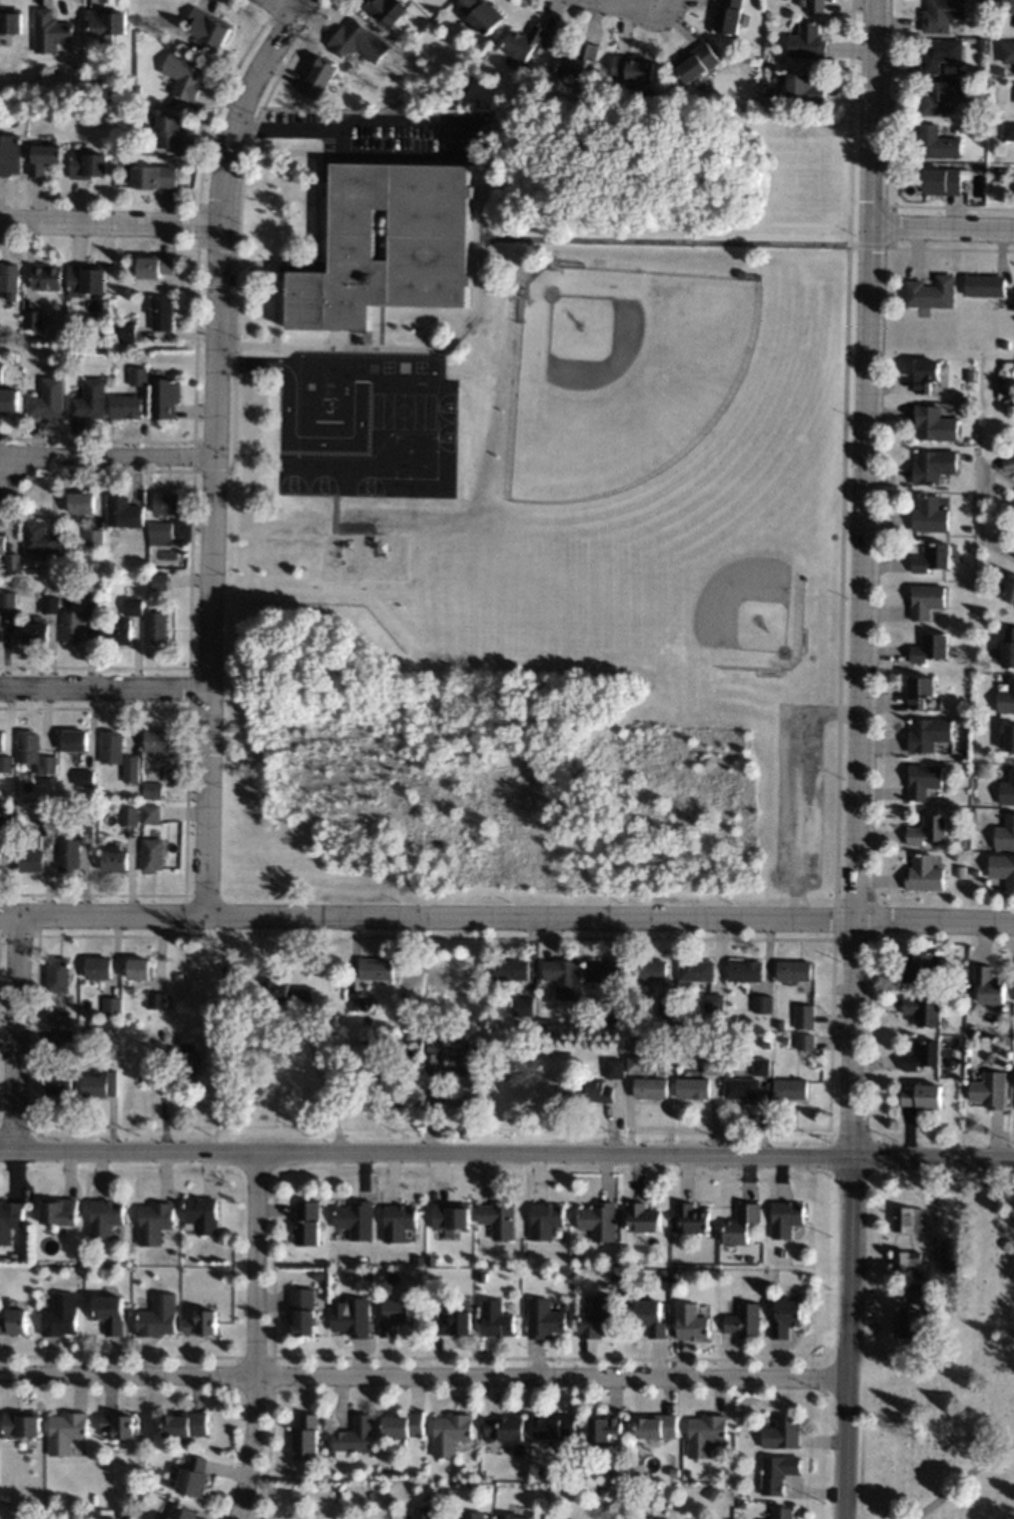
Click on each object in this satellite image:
building: (983, 2)
road: (622, 4)
building: (815, 6)
building: (1008, 6)
road: (284, 8)
building: (387, 11)
building: (479, 14)
building: (941, 14)
building: (728, 16)
building: (10, 20)
building: (106, 22)
building: (208, 26)
building: (994, 30)
building: (49, 31)
building: (357, 42)
building: (524, 42)
building: (806, 42)
building: (984, 51)
building: (1008, 51)
building: (940, 54)
building: (576, 60)
building: (697, 63)
building: (632, 69)
building: (1001, 72)
building: (184, 76)
building: (318, 77)
building: (98, 79)
building: (803, 87)
building: (453, 88)
building: (137, 89)
building: (941, 96)
building: (9, 100)
building: (537, 107)
building: (128, 116)
road: (442, 125)
building: (1009, 131)
building: (170, 132)
building: (937, 143)
building: (10, 155)
building: (43, 158)
building: (138, 158)
building: (87, 165)
building: (1003, 169)
building: (154, 177)
building: (943, 180)
road: (109, 222)
road: (943, 231)
road: (675, 241)
building: (428, 249)
building: (155, 266)
building: (632, 270)
building: (46, 277)
building: (10, 280)
building: (86, 280)
building: (985, 286)
building: (931, 293)
building: (161, 314)
building: (33, 320)
building: (388, 326)
building: (98, 330)
building: (125, 331)
park: (589, 338)
building: (353, 339)
building: (1005, 345)
road: (435, 348)
building: (1, 375)
building: (926, 375)
building: (969, 375)
building: (138, 377)
building: (1002, 380)
building: (1004, 392)
building: (166, 398)
building: (48, 399)
building: (9, 400)
building: (90, 400)
building: (1012, 402)
building: (126, 407)
building: (934, 424)
road: (213, 445)
road: (105, 457)
building: (1008, 463)
building: (933, 466)
building: (81, 503)
building: (166, 504)
building: (122, 512)
building: (930, 515)
building: (970, 528)
building: (159, 533)
building: (93, 537)
building: (38, 538)
building: (1, 544)
building: (998, 547)
building: (932, 557)
building: (99, 560)
building: (11, 562)
building: (24, 564)
road: (864, 576)
building: (159, 581)
building: (1009, 590)
park: (738, 596)
building: (8, 600)
building: (925, 600)
building: (93, 602)
building: (50, 605)
building: (133, 607)
building: (0, 622)
building: (72, 627)
building: (156, 628)
building: (36, 633)
building: (119, 633)
building: (930, 647)
building: (1008, 647)
building: (721, 670)
road: (103, 690)
building: (919, 691)
building: (1006, 697)
building: (927, 734)
building: (1009, 737)
building: (1, 740)
building: (75, 740)
building: (158, 740)
building: (112, 747)
building: (34, 753)
building: (6, 764)
building: (132, 769)
building: (85, 778)
building: (922, 780)
building: (153, 790)
building: (1007, 790)
building: (70, 791)
building: (150, 814)
building: (44, 815)
building: (129, 816)
building: (5, 817)
building: (84, 825)
building: (930, 830)
building: (1005, 833)
building: (963, 840)
building: (68, 855)
building: (152, 855)
building: (115, 860)
building: (31, 861)
building: (1002, 869)
building: (975, 872)
building: (924, 874)
road: (507, 918)
building: (920, 967)
building: (98, 968)
building: (140, 969)
building: (376, 969)
building: (225, 970)
building: (510, 970)
building: (649, 970)
building: (696, 970)
building: (602, 971)
building: (744, 971)
building: (793, 971)
building: (58, 975)
building: (562, 977)
building: (989, 986)
building: (285, 992)
building: (156, 1001)
building: (358, 1002)
building: (713, 1003)
building: (762, 1004)
building: (111, 1005)
building: (666, 1005)
building: (523, 1006)
building: (923, 1011)
building: (615, 1014)
building: (56, 1017)
building: (804, 1017)
building: (322, 1018)
building: (779, 1025)
building: (971, 1028)
building: (86, 1031)
road: (18, 1032)
building: (335, 1032)
building: (109, 1035)
building: (752, 1037)
building: (64, 1038)
building: (407, 1039)
building: (398, 1040)
building: (784, 1040)
building: (804, 1042)
building: (400, 1050)
building: (922, 1055)
building: (990, 1057)
building: (463, 1059)
building: (190, 1060)
building: (432, 1061)
building: (713, 1064)
building: (636, 1065)
building: (762, 1067)
building: (615, 1068)
building: (142, 1079)
building: (100, 1084)
building: (59, 1086)
building: (651, 1088)
building: (694, 1088)
building: (742, 1088)
building: (790, 1089)
building: (990, 1090)
building: (595, 1092)
road: (325, 1095)
building: (922, 1097)
road: (507, 1151)
building: (58, 1211)
building: (201, 1215)
building: (450, 1216)
building: (104, 1218)
building: (785, 1218)
building: (497, 1219)
building: (642, 1219)
building: (691, 1219)
building: (10, 1220)
building: (355, 1220)
building: (545, 1220)
building: (907, 1220)
building: (598, 1221)
building: (397, 1222)
building: (154, 1223)
building: (306, 1223)
building: (741, 1224)
building: (953, 1257)
building: (749, 1259)
building: (905, 1259)
building: (361, 1260)
building: (615, 1262)
building: (615, 1276)
building: (661, 1277)
building: (676, 1278)
building: (369, 1279)
building: (913, 1293)
building: (10, 1302)
building: (930, 1309)
building: (302, 1311)
building: (940, 1311)
building: (109, 1313)
building: (439, 1314)
building: (59, 1315)
building: (393, 1316)
building: (157, 1317)
building: (350, 1317)
building: (649, 1318)
building: (784, 1318)
building: (543, 1319)
building: (597, 1319)
building: (495, 1320)
building: (744, 1321)
building: (14, 1322)
building: (690, 1322)
building: (201, 1323)
building: (909, 1323)
building: (454, 1324)
road: (255, 1335)
road: (848, 1336)
road: (272, 1356)
road: (400, 1357)
road: (424, 1375)
park: (949, 1387)
building: (20, 1424)
building: (185, 1424)
building: (117, 1425)
building: (402, 1426)
building: (554, 1426)
building: (656, 1427)
building: (505, 1428)
building: (604, 1428)
building: (65, 1432)
building: (780, 1433)
building: (450, 1434)
building: (704, 1434)
building: (305, 1437)
building: (353, 1437)
building: (540, 1471)
building: (776, 1473)
building: (193, 1477)
building: (448, 1491)
building: (711, 1493)
building: (433, 1496)
building: (742, 1505)
building: (423, 1512)
building: (181, 1513)
building: (780, 1513)
building: (472, 1515)
building: (515, 1517)

